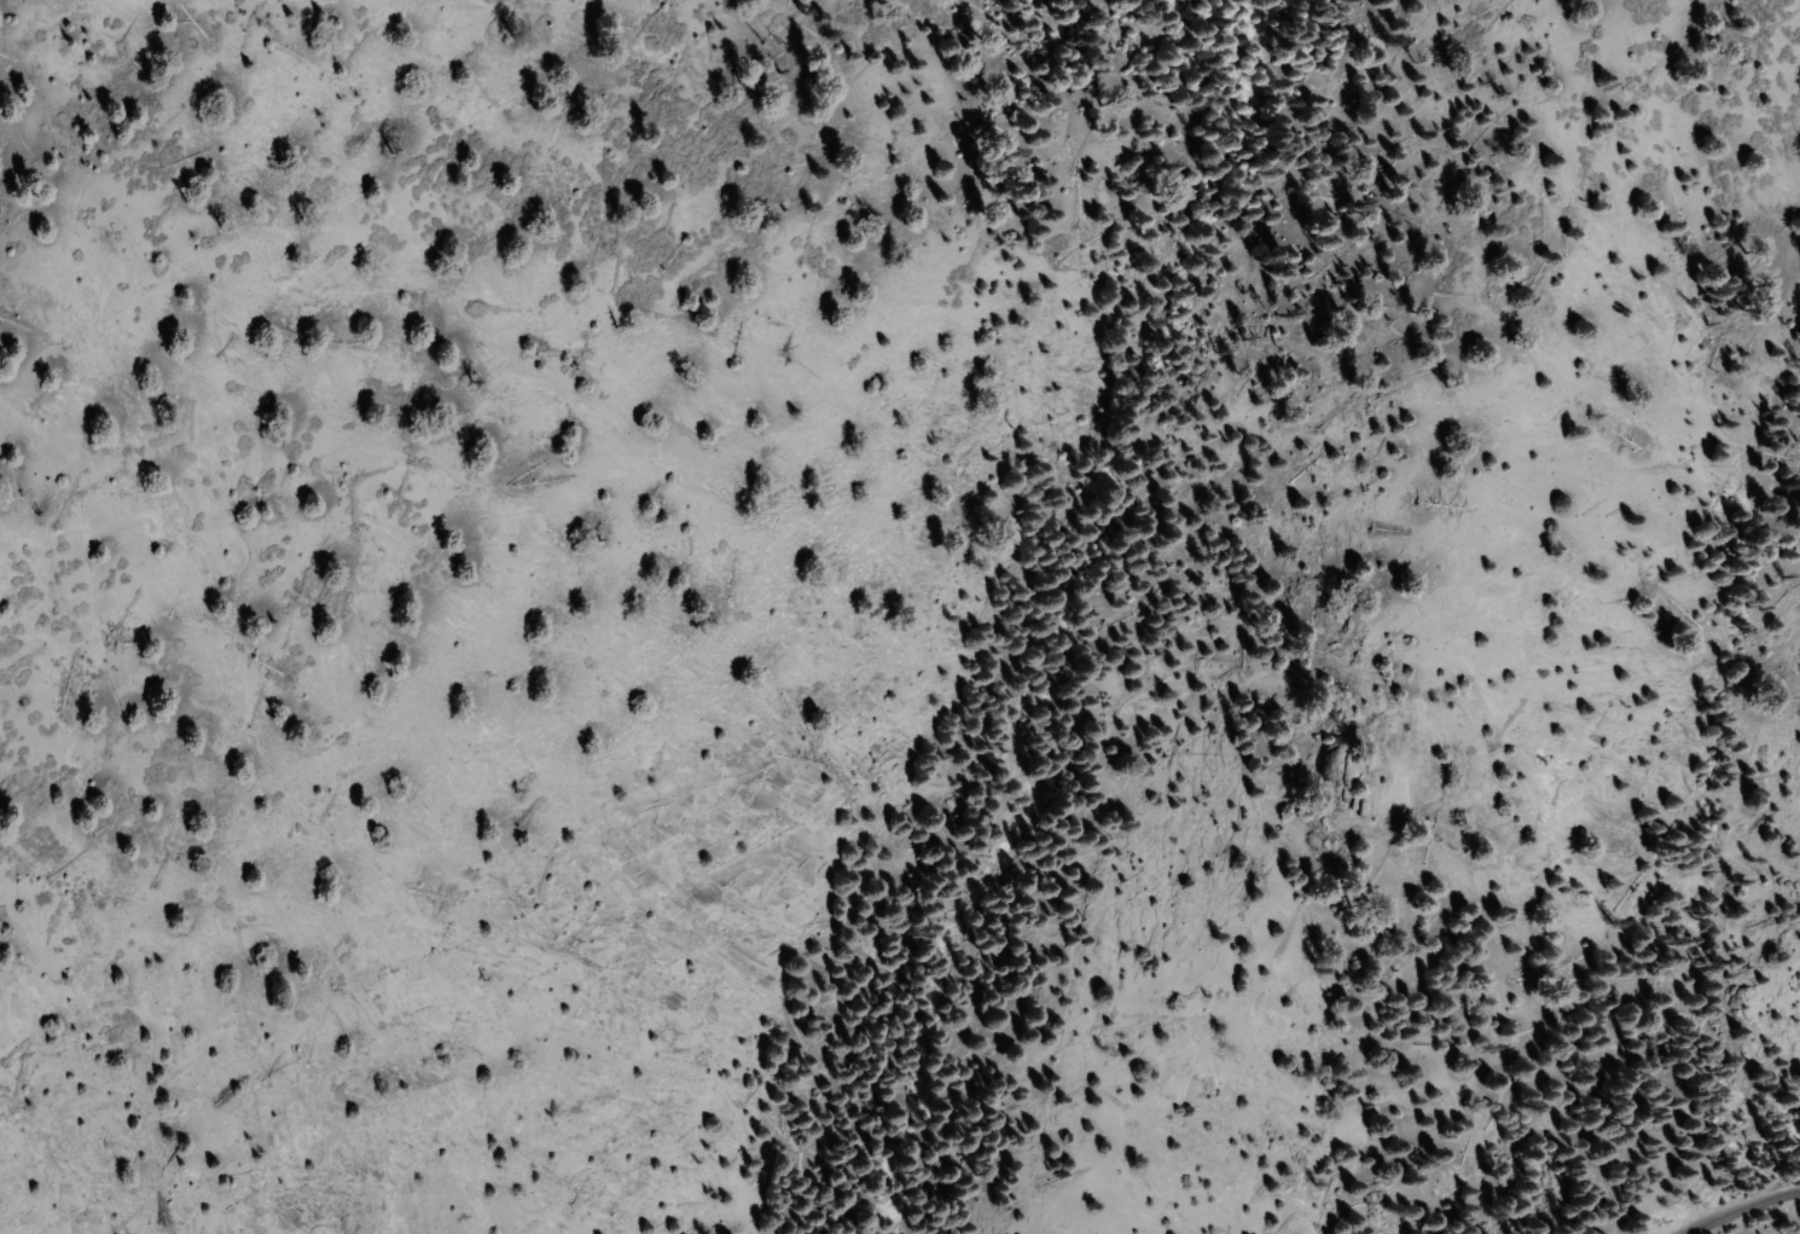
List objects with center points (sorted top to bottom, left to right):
road: (1740, 1210)

